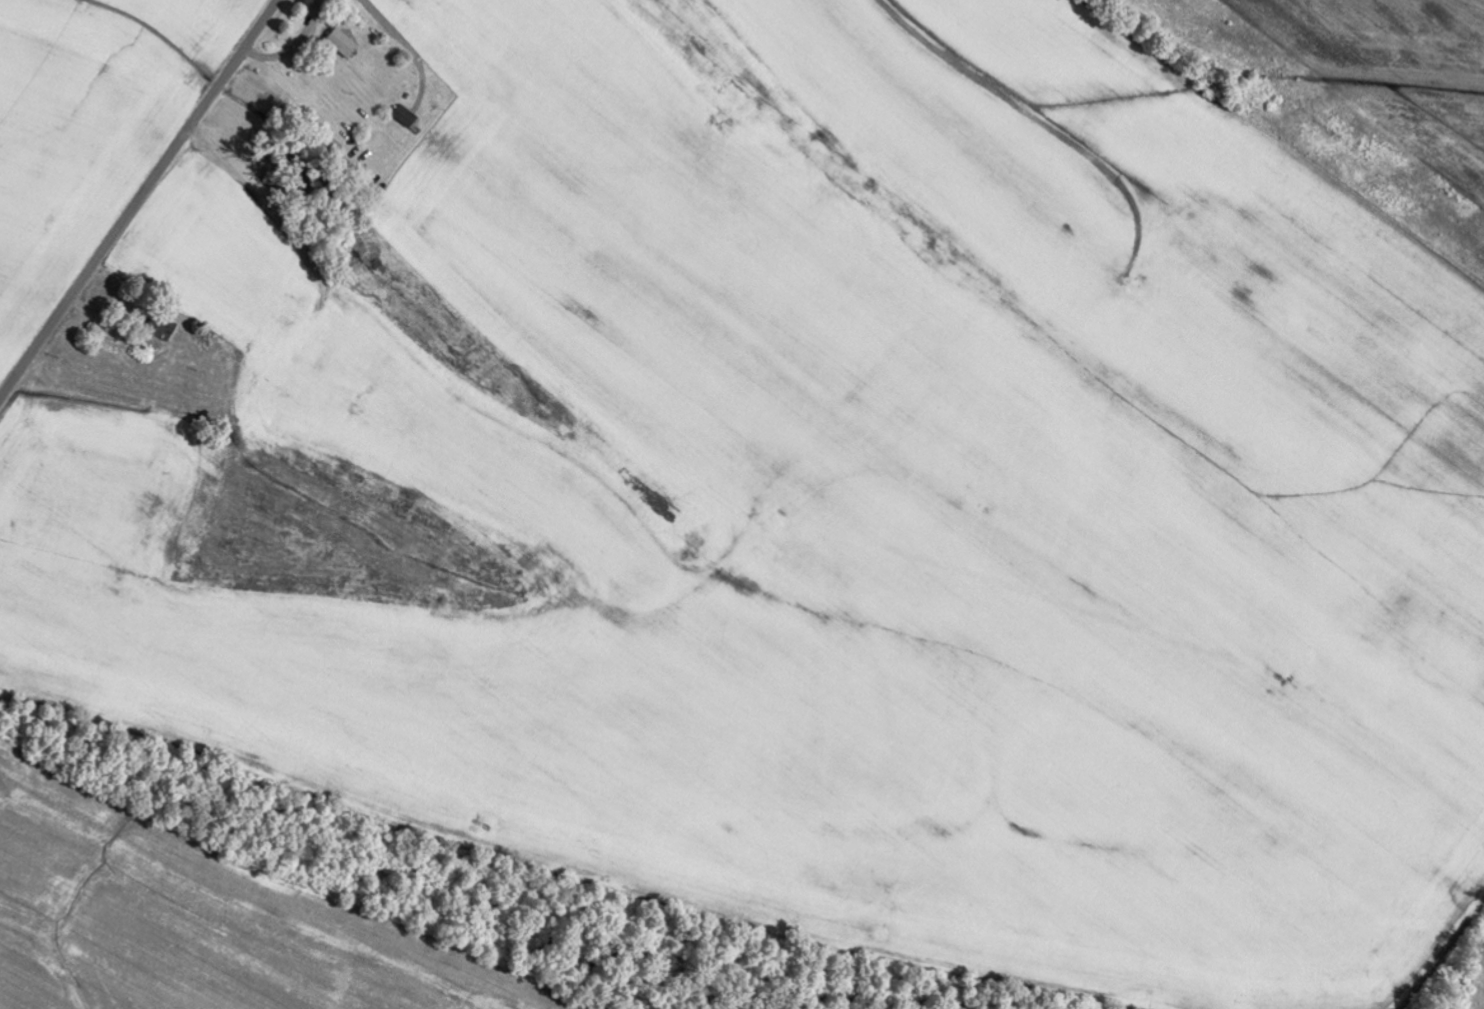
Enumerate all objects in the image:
building: (343, 43)
road: (409, 46)
road: (297, 48)
road: (250, 187)
road: (138, 198)

